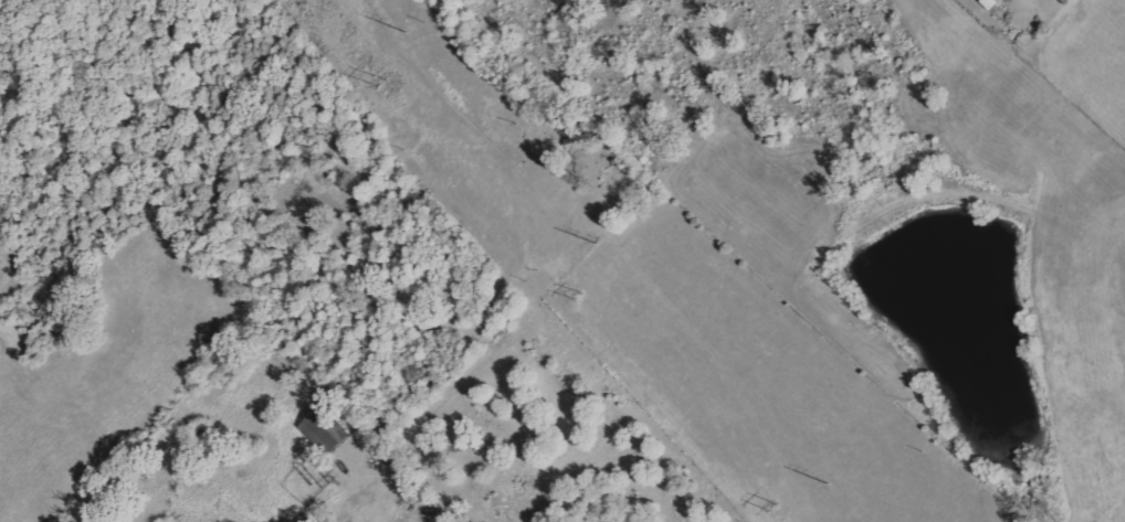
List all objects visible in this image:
power tower: (403, 35)
power tower: (374, 85)
building: (581, 142)
power tower: (596, 245)
power tower: (575, 298)
building: (327, 430)
power tower: (830, 484)
power tower: (771, 507)

